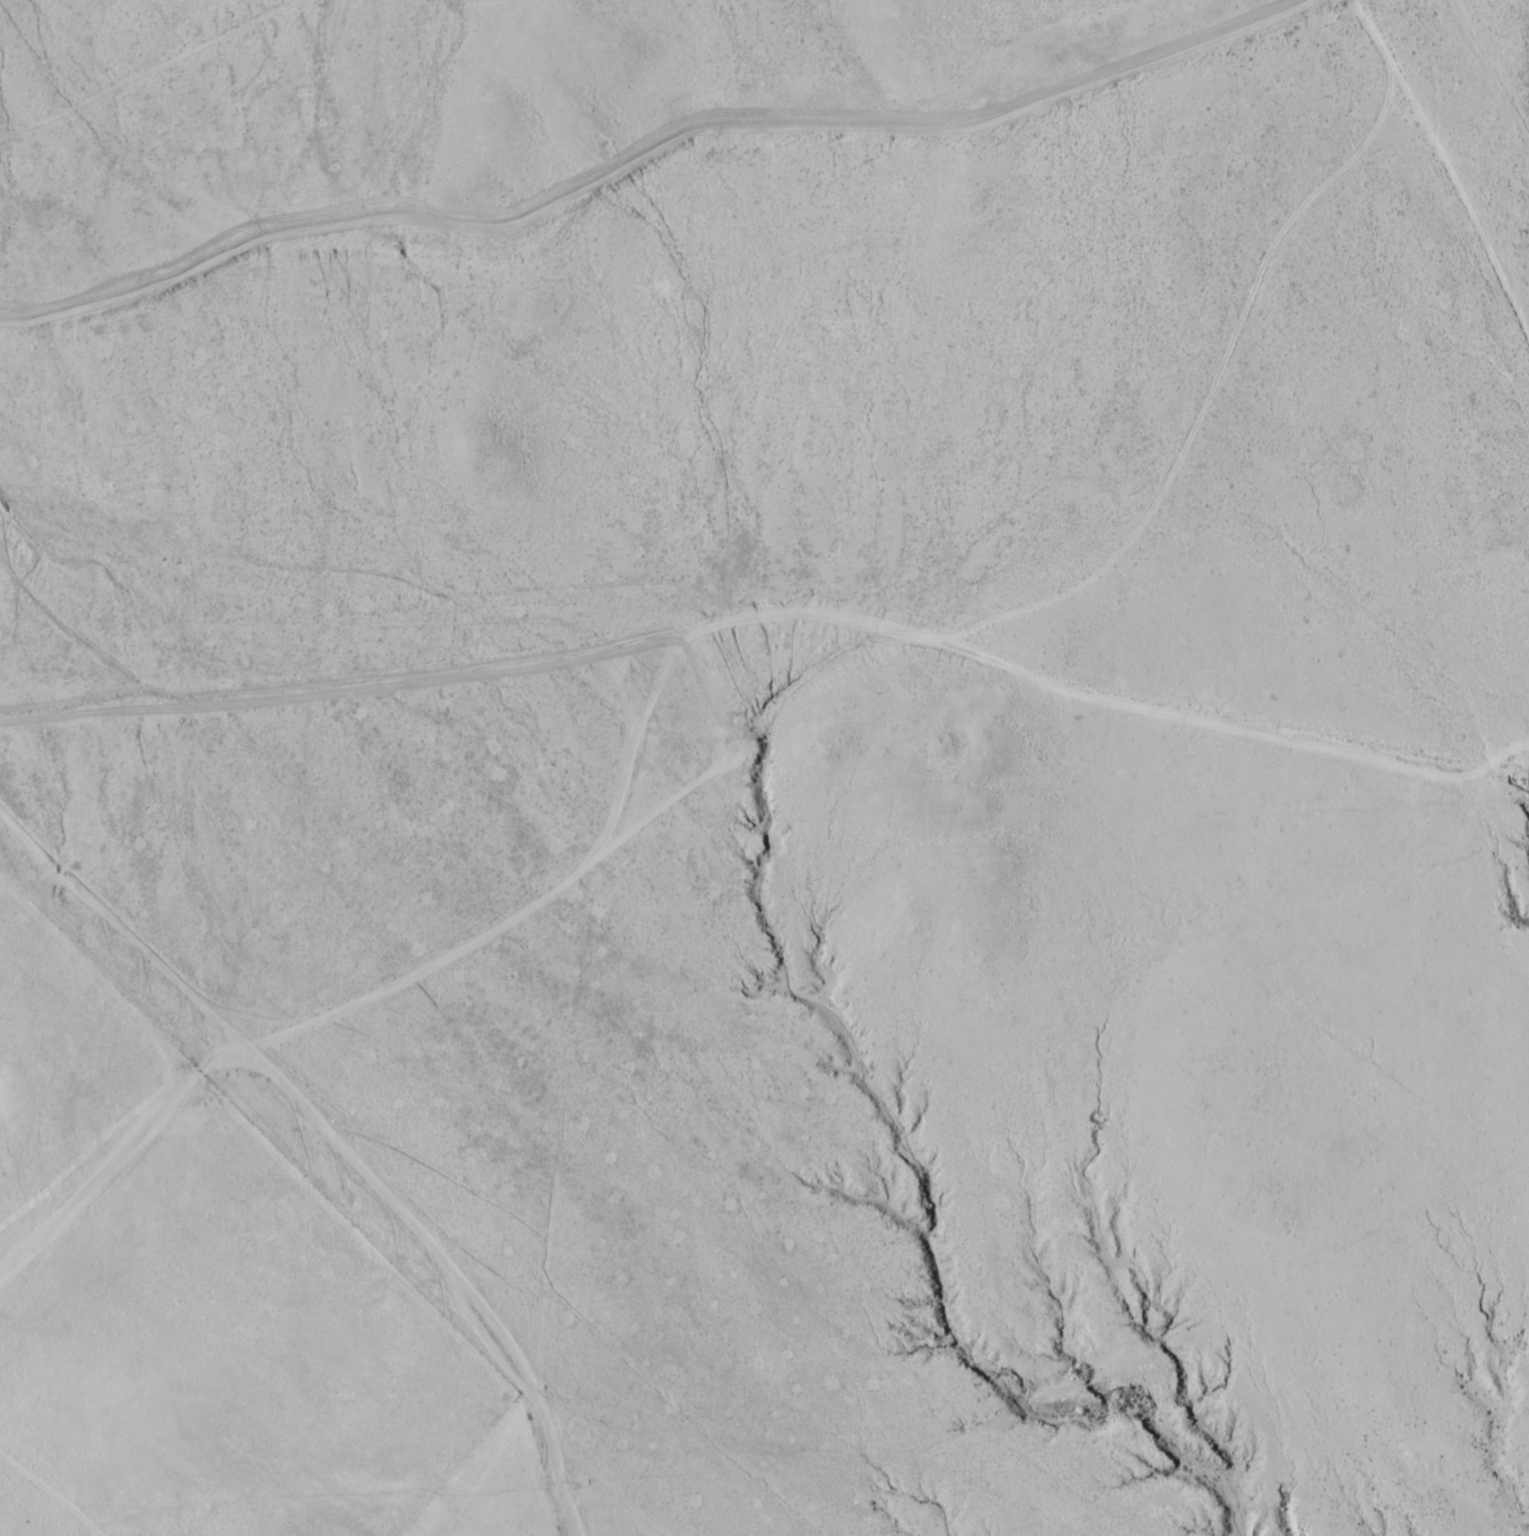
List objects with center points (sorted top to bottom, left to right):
road: (200, 33)
road: (1451, 193)
road: (335, 1140)

